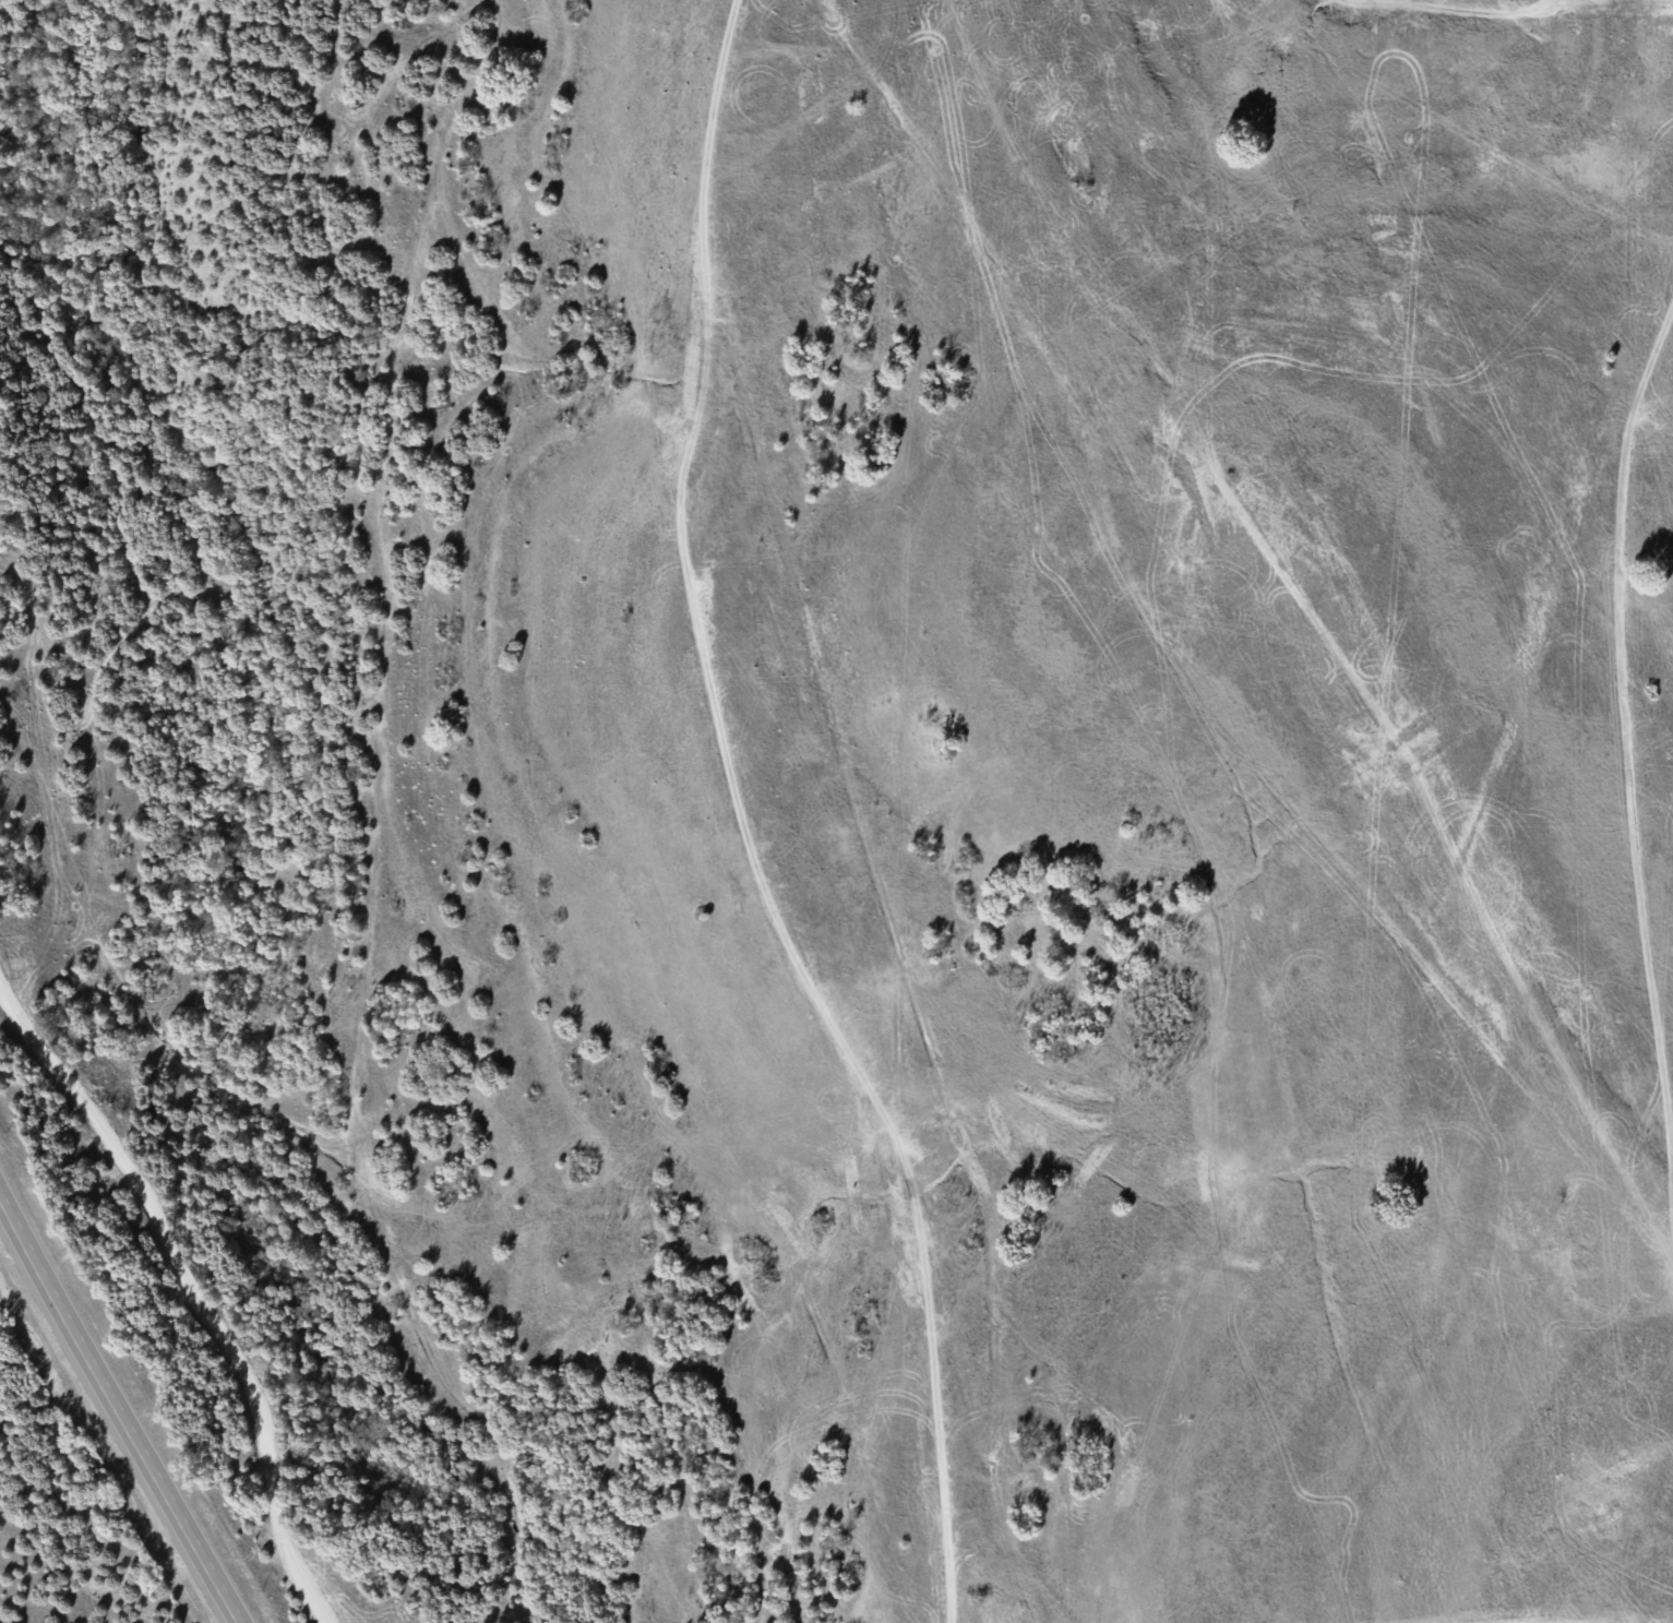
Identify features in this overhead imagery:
road: (194, 1290)
road: (116, 1416)

